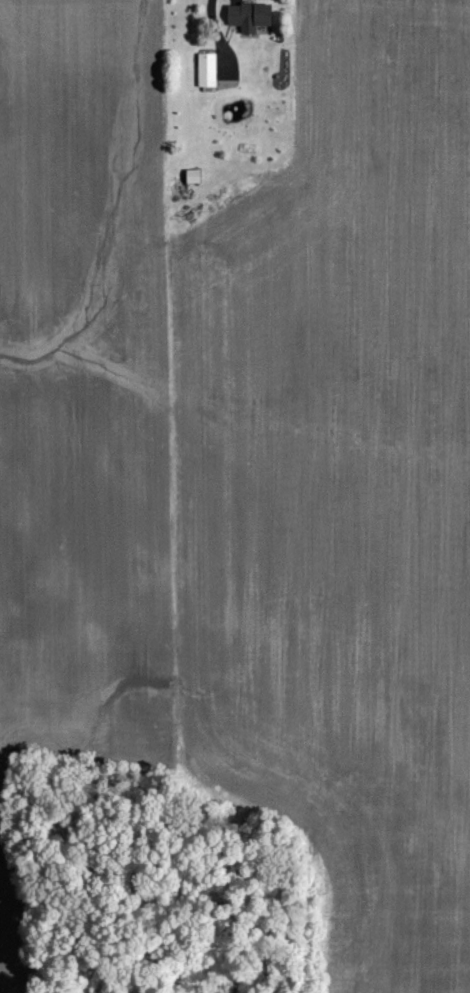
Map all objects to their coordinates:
building: (251, 17)
building: (208, 70)
building: (194, 177)

